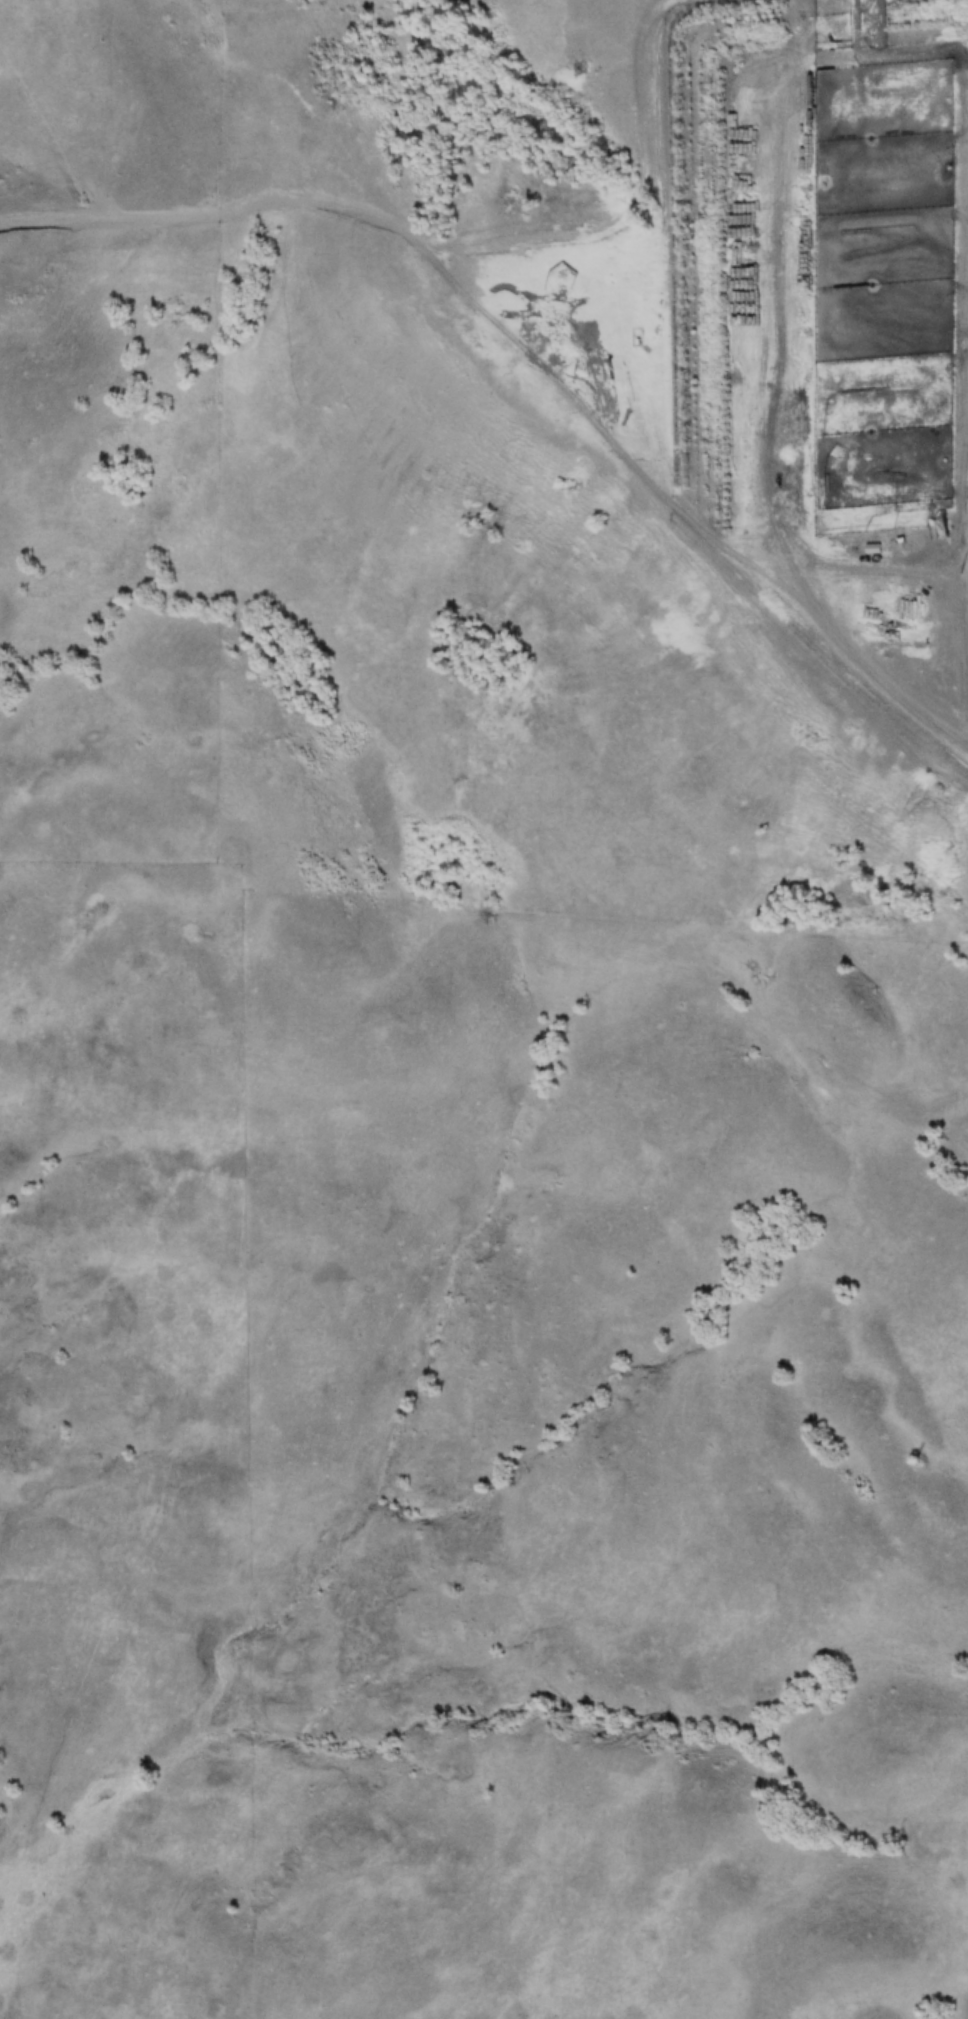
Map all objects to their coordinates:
road: (522, 374)

